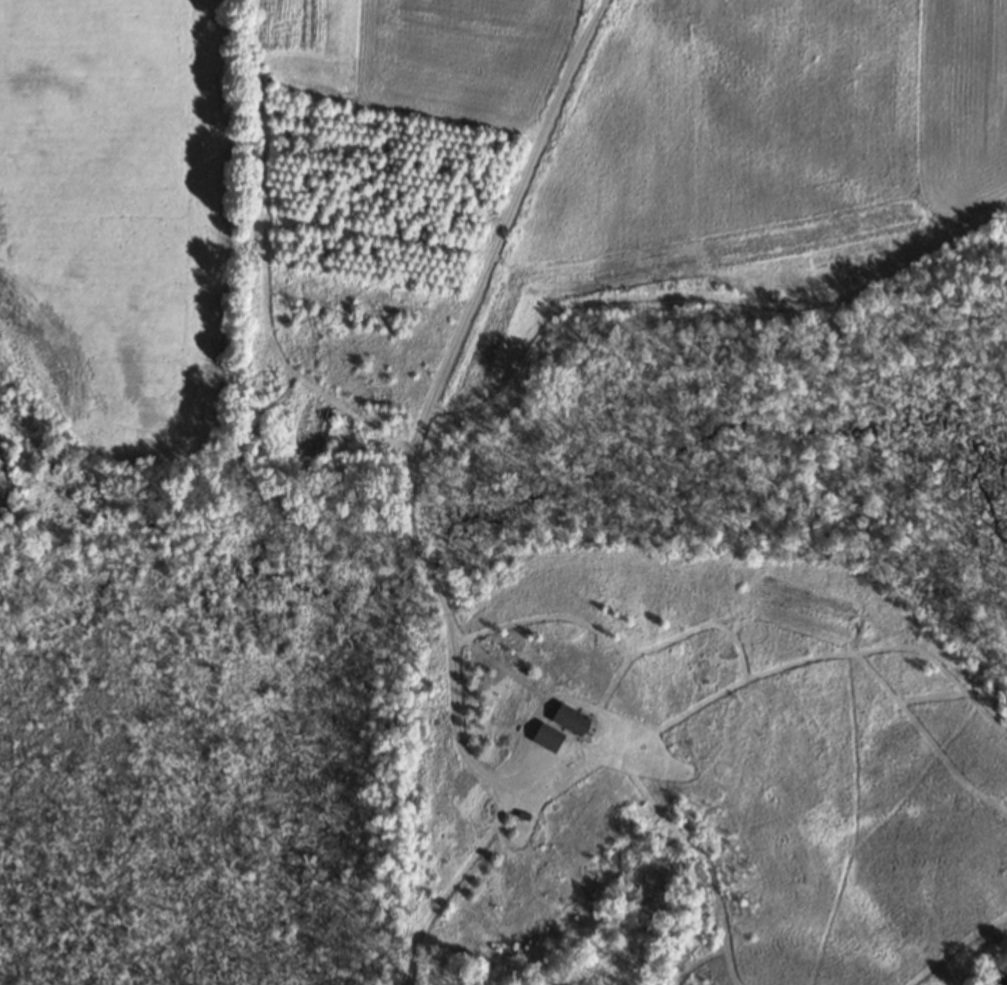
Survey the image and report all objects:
building: (568, 719)
building: (545, 737)

